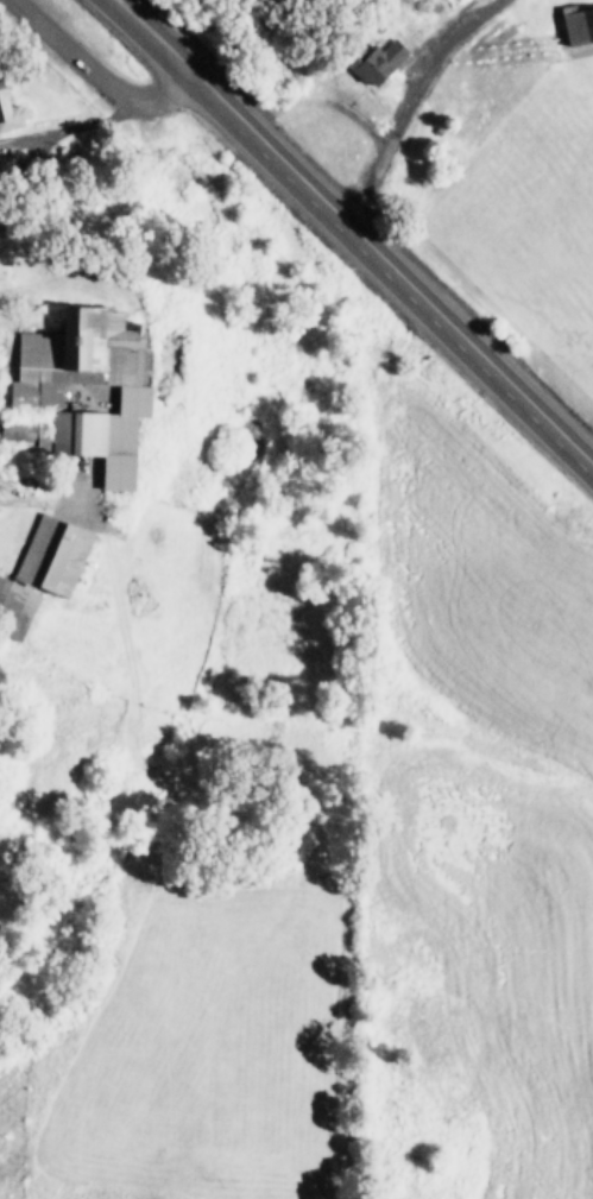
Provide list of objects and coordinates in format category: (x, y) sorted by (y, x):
road: (118, 2)
road: (119, 2)
building: (579, 26)
building: (381, 58)
road: (96, 76)
road: (404, 101)
building: (11, 108)
road: (78, 126)
crop: (477, 153)
road: (358, 235)
building: (94, 389)
building: (26, 434)
building: (46, 570)
crop: (269, 715)

